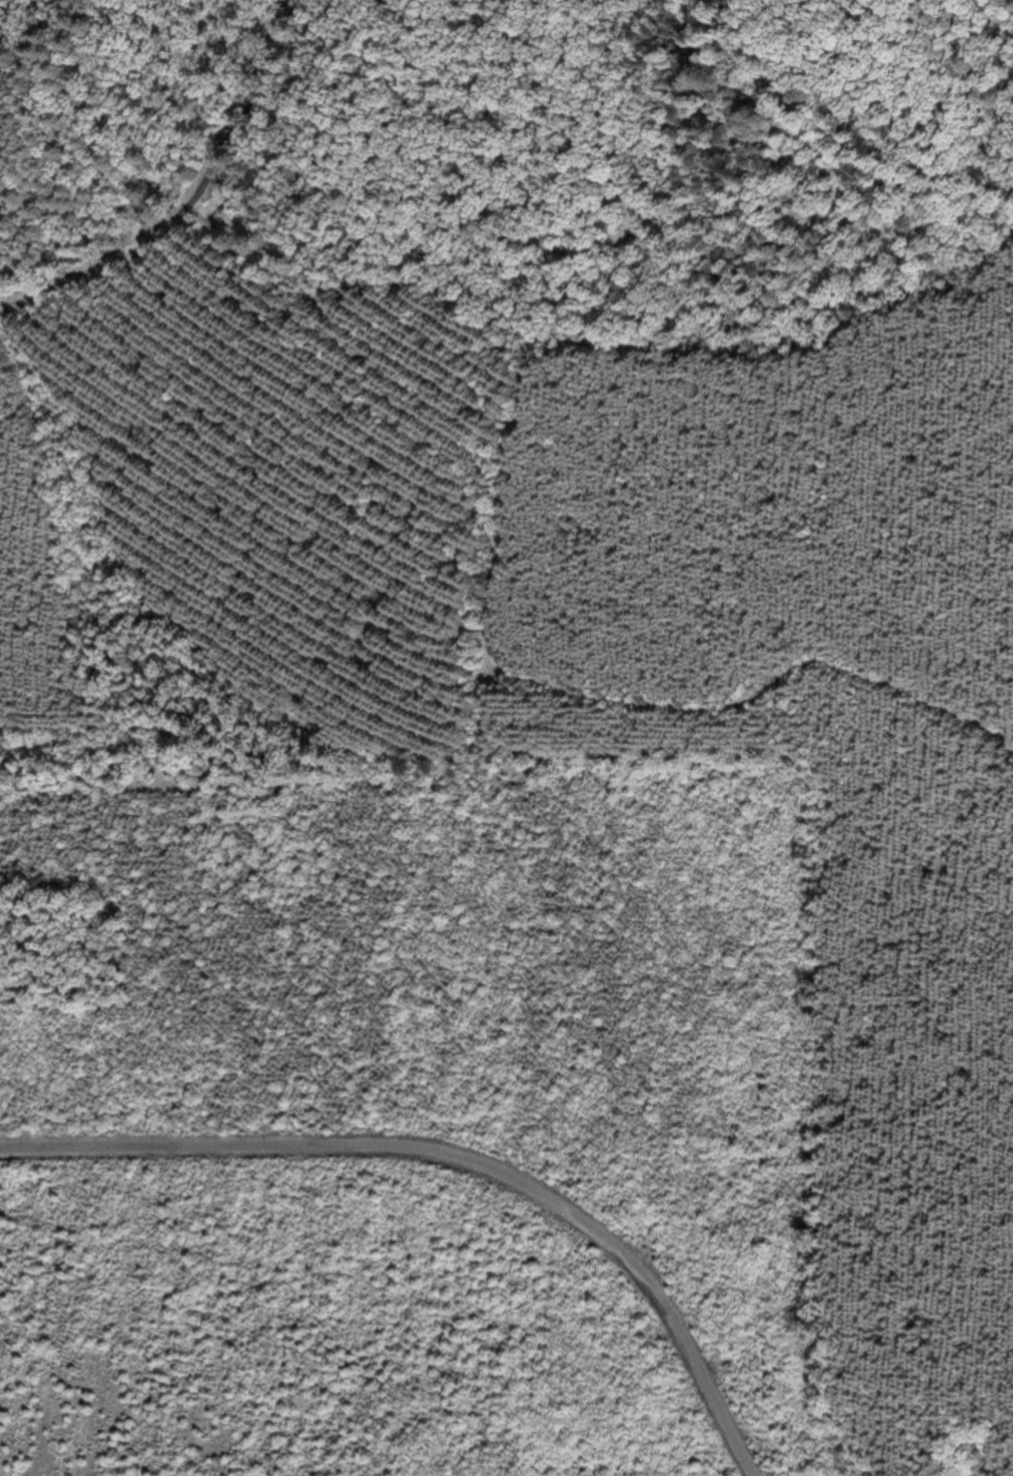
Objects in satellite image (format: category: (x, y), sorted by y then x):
road: (449, 1161)

